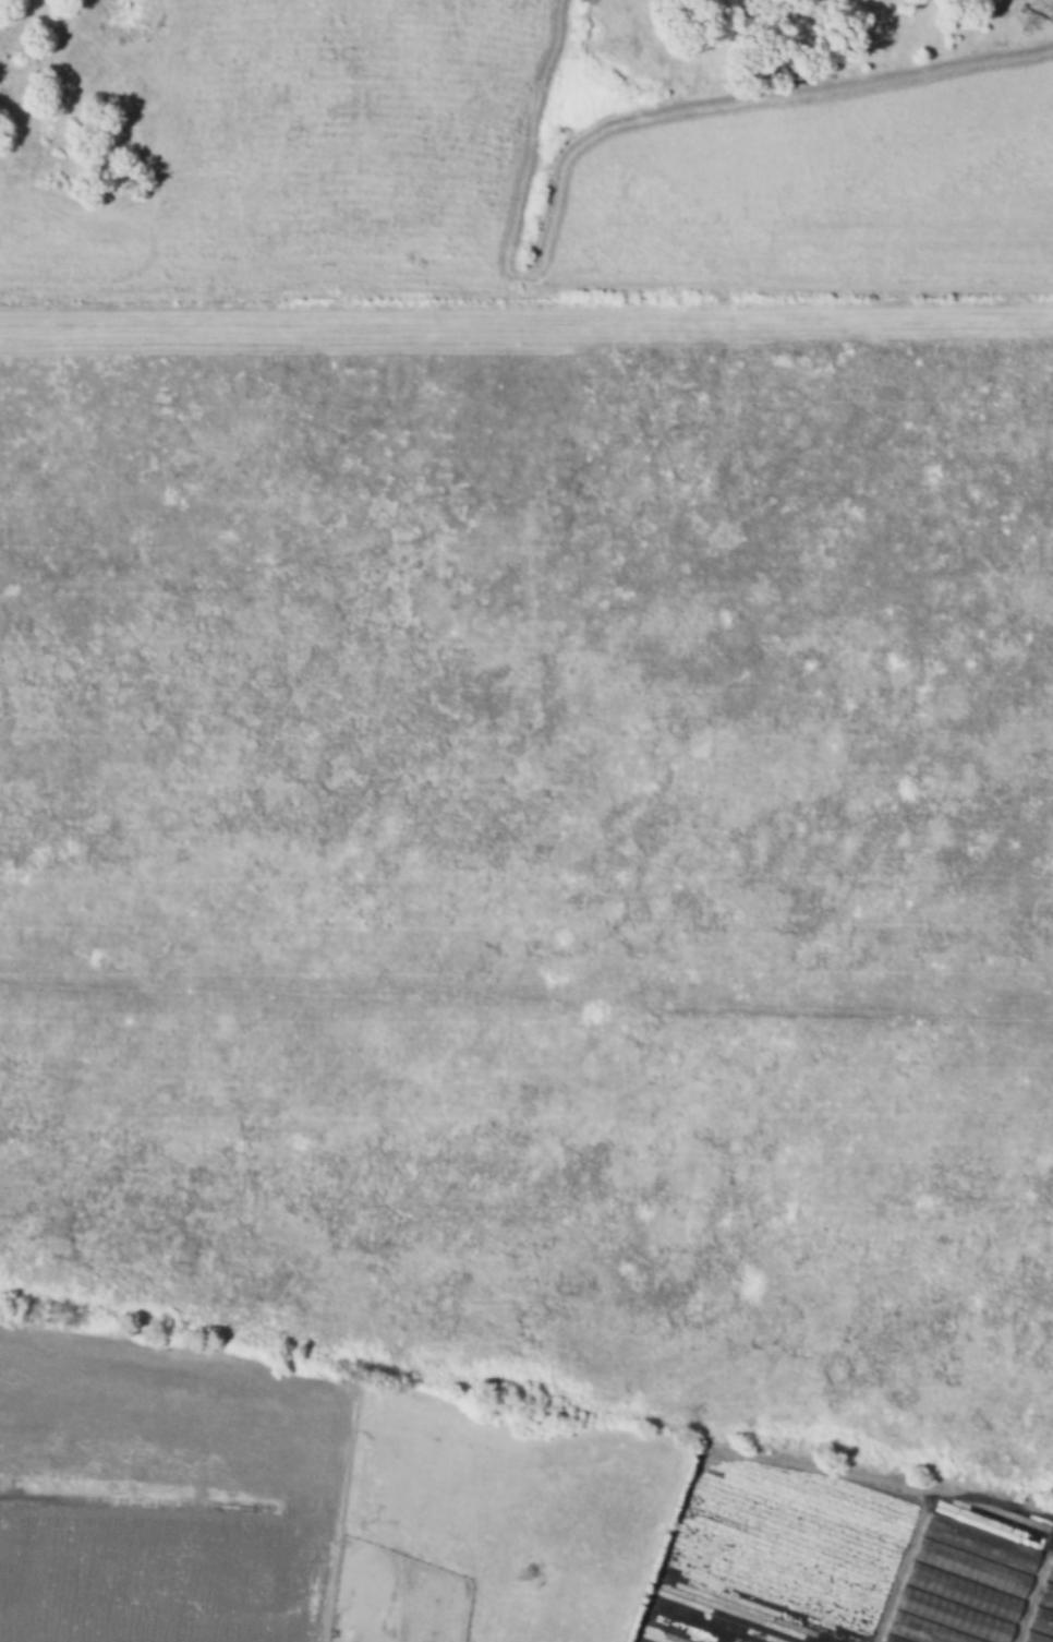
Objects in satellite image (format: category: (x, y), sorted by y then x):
road: (526, 315)
crop: (570, 801)
road: (289, 1386)
road: (783, 1466)
building: (980, 1544)
road: (898, 1568)
building: (971, 1569)
building: (1050, 1572)
road: (1033, 1589)
building: (963, 1593)
building: (1046, 1596)
building: (953, 1616)
building: (1042, 1621)
building: (921, 1630)
building: (1034, 1638)
building: (889, 1640)

